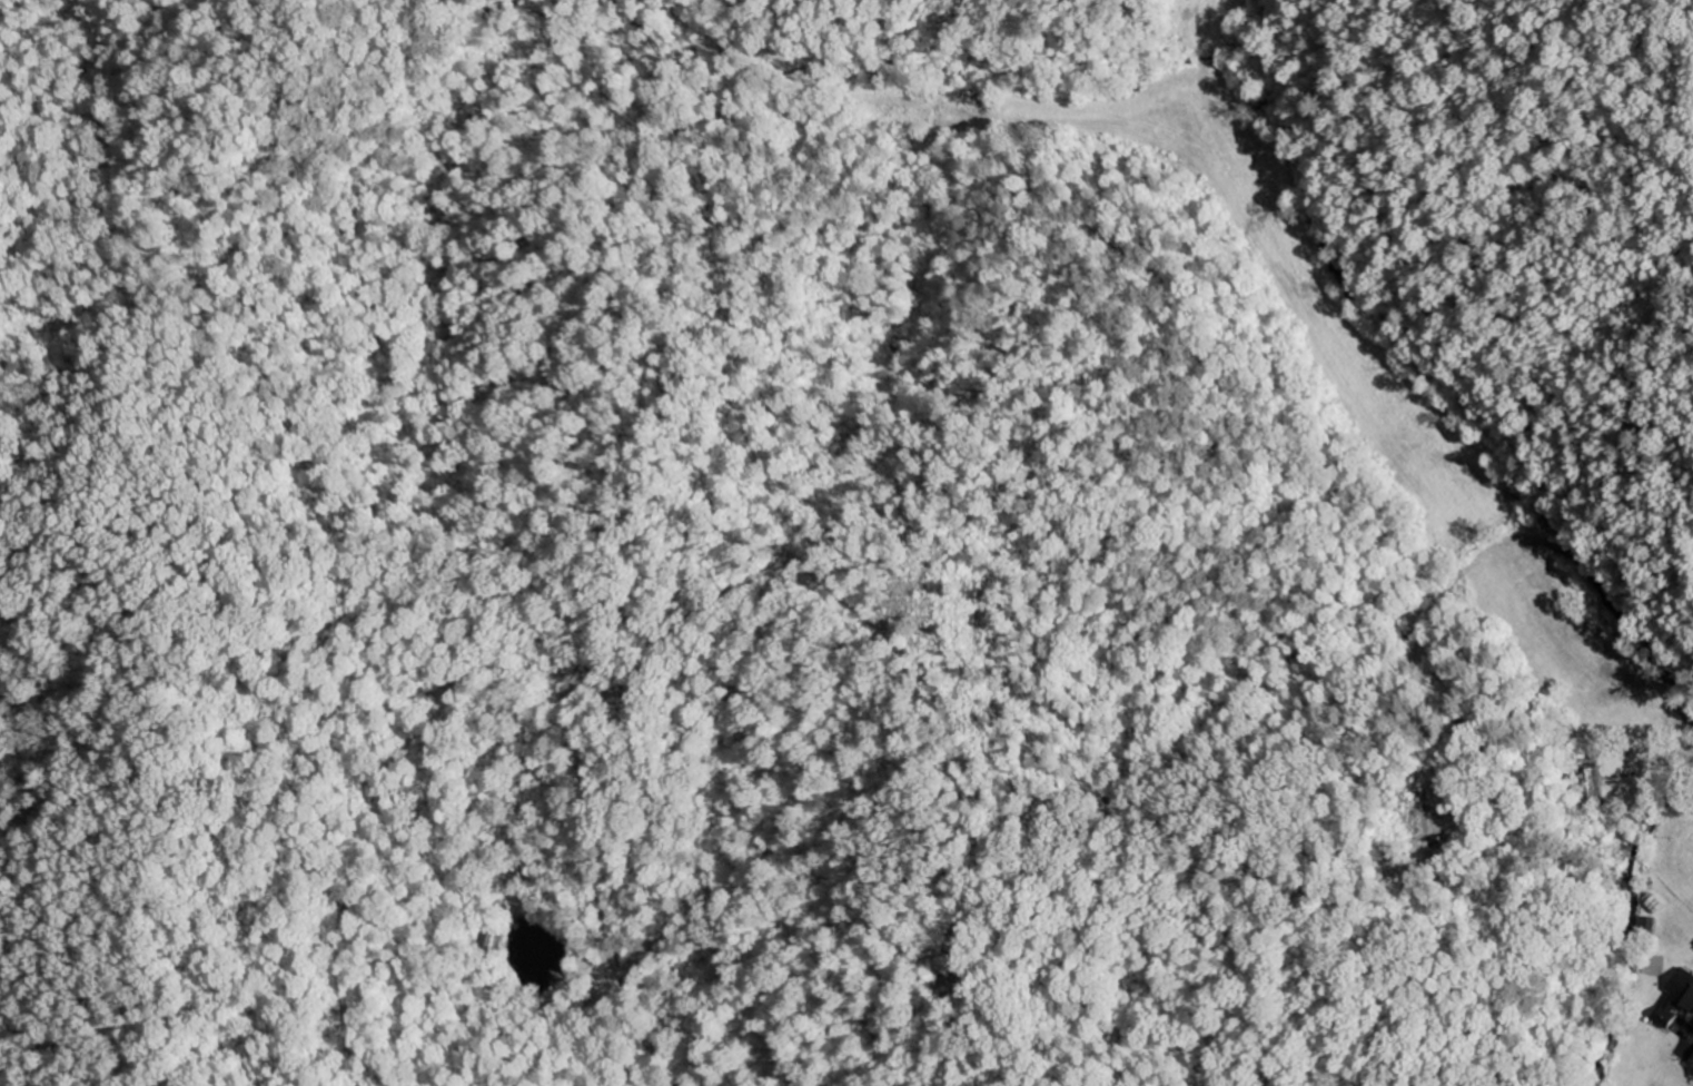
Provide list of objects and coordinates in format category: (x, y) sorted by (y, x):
road: (1487, 356)
building: (1674, 998)

